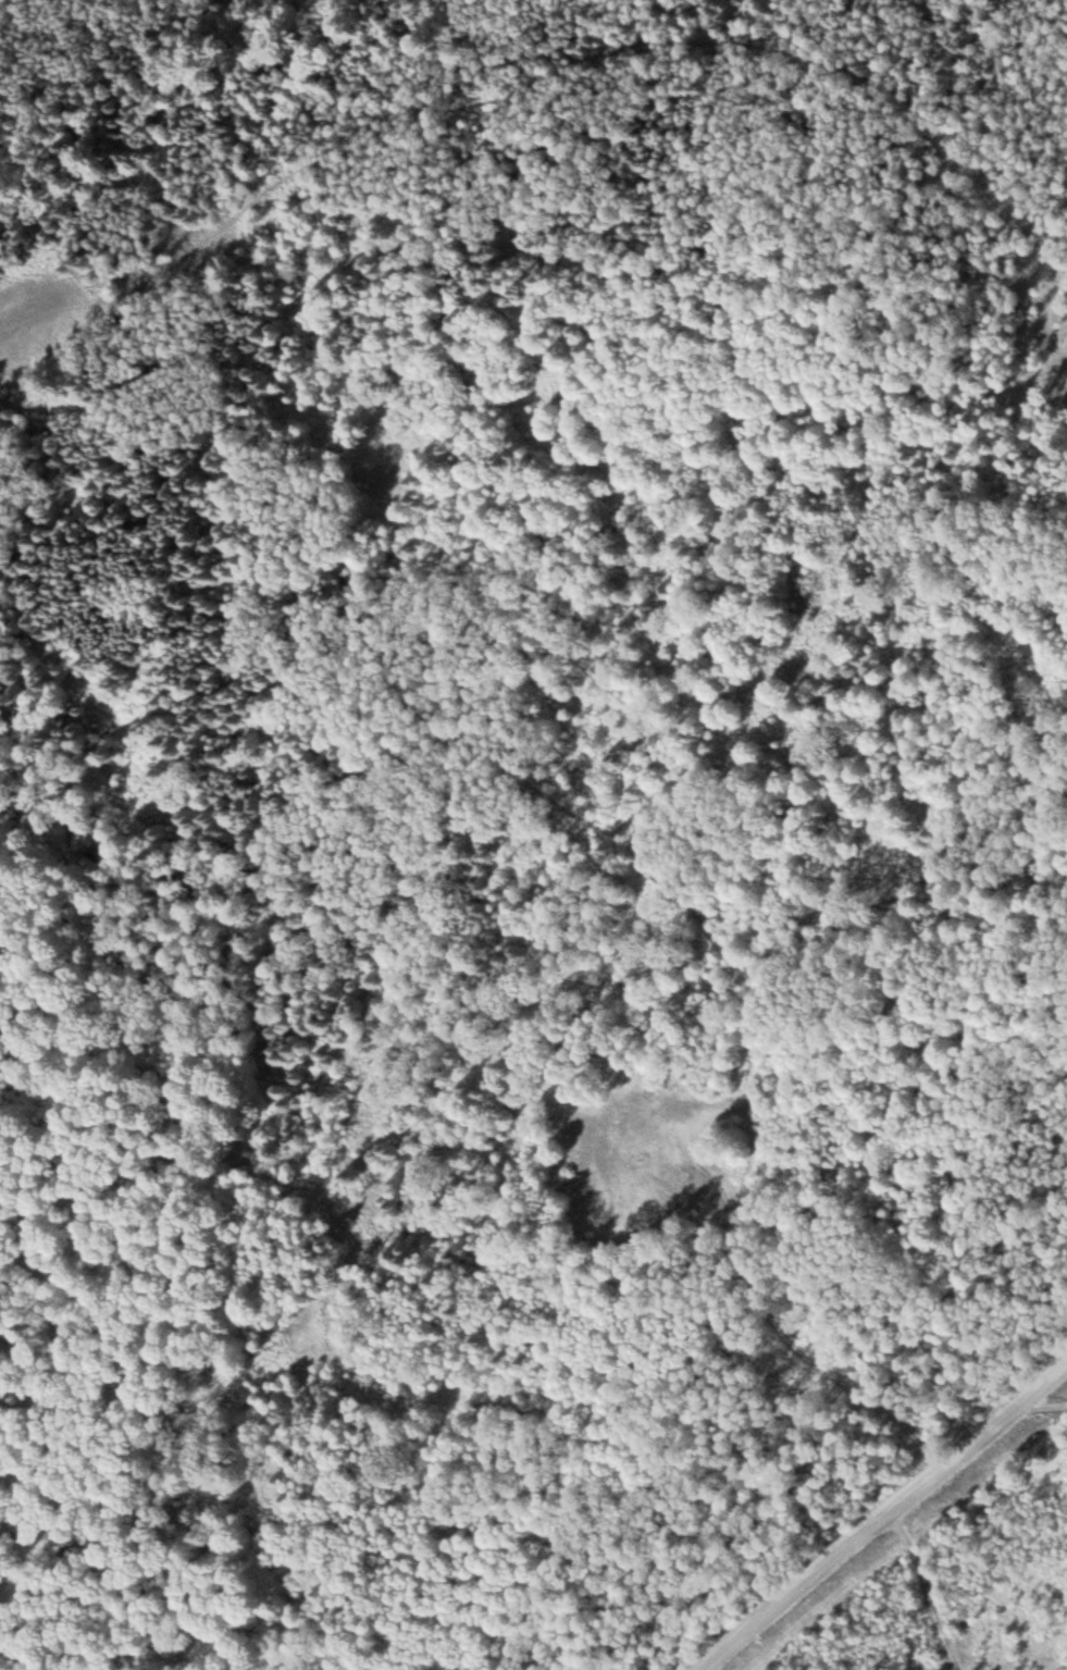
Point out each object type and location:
road: (885, 1521)

